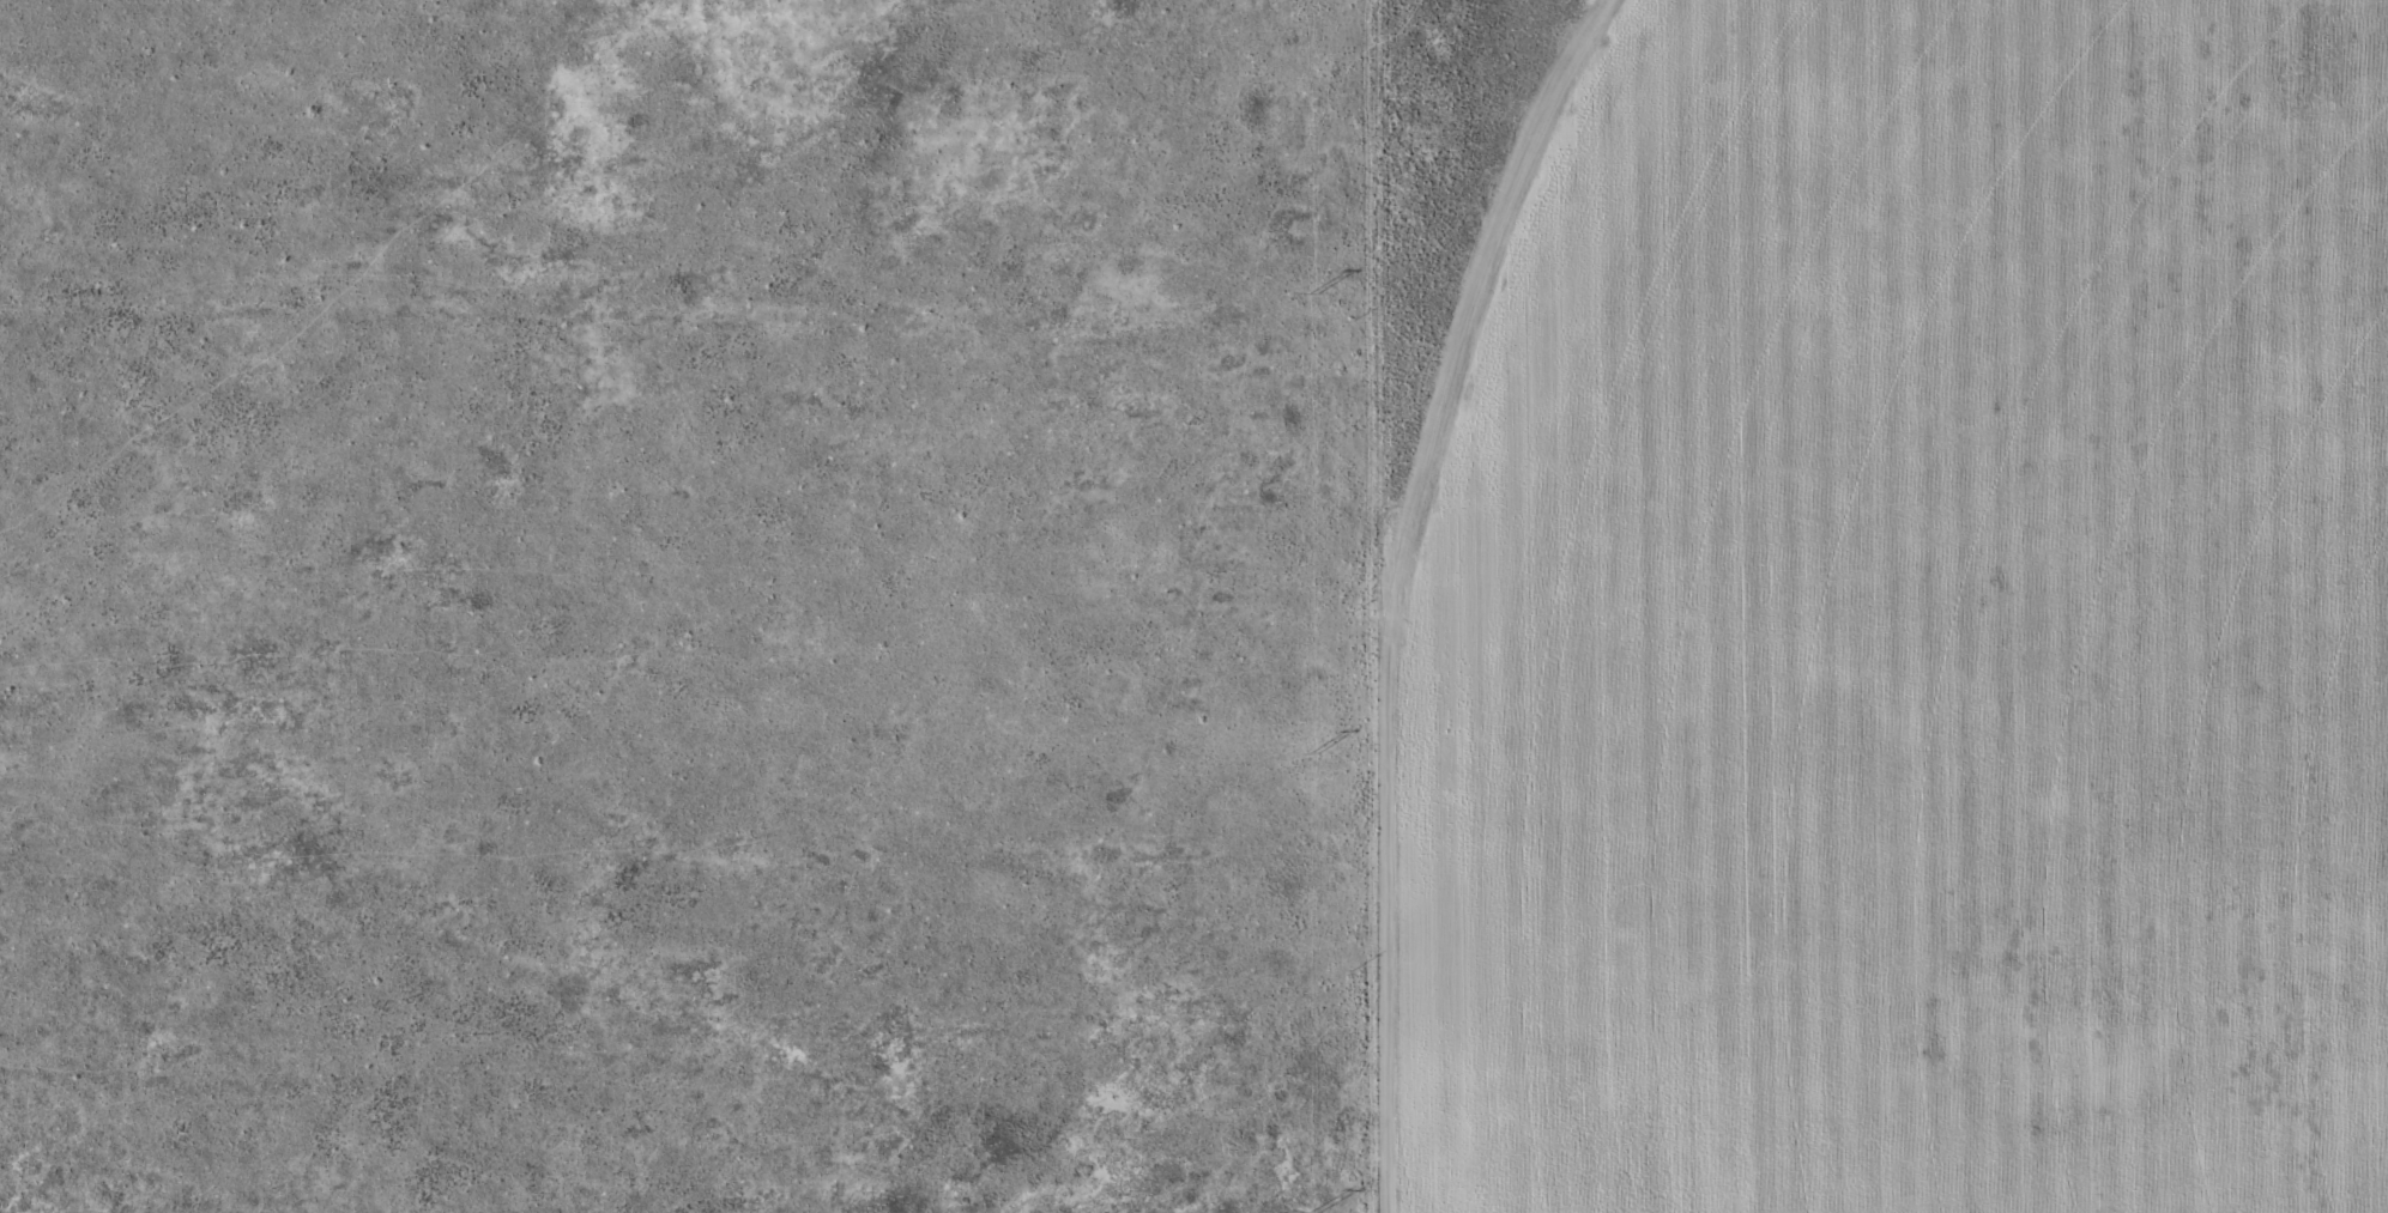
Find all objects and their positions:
power tower: (1314, 296)
road: (1364, 606)
power tower: (1313, 754)
power tower: (1316, 1212)

